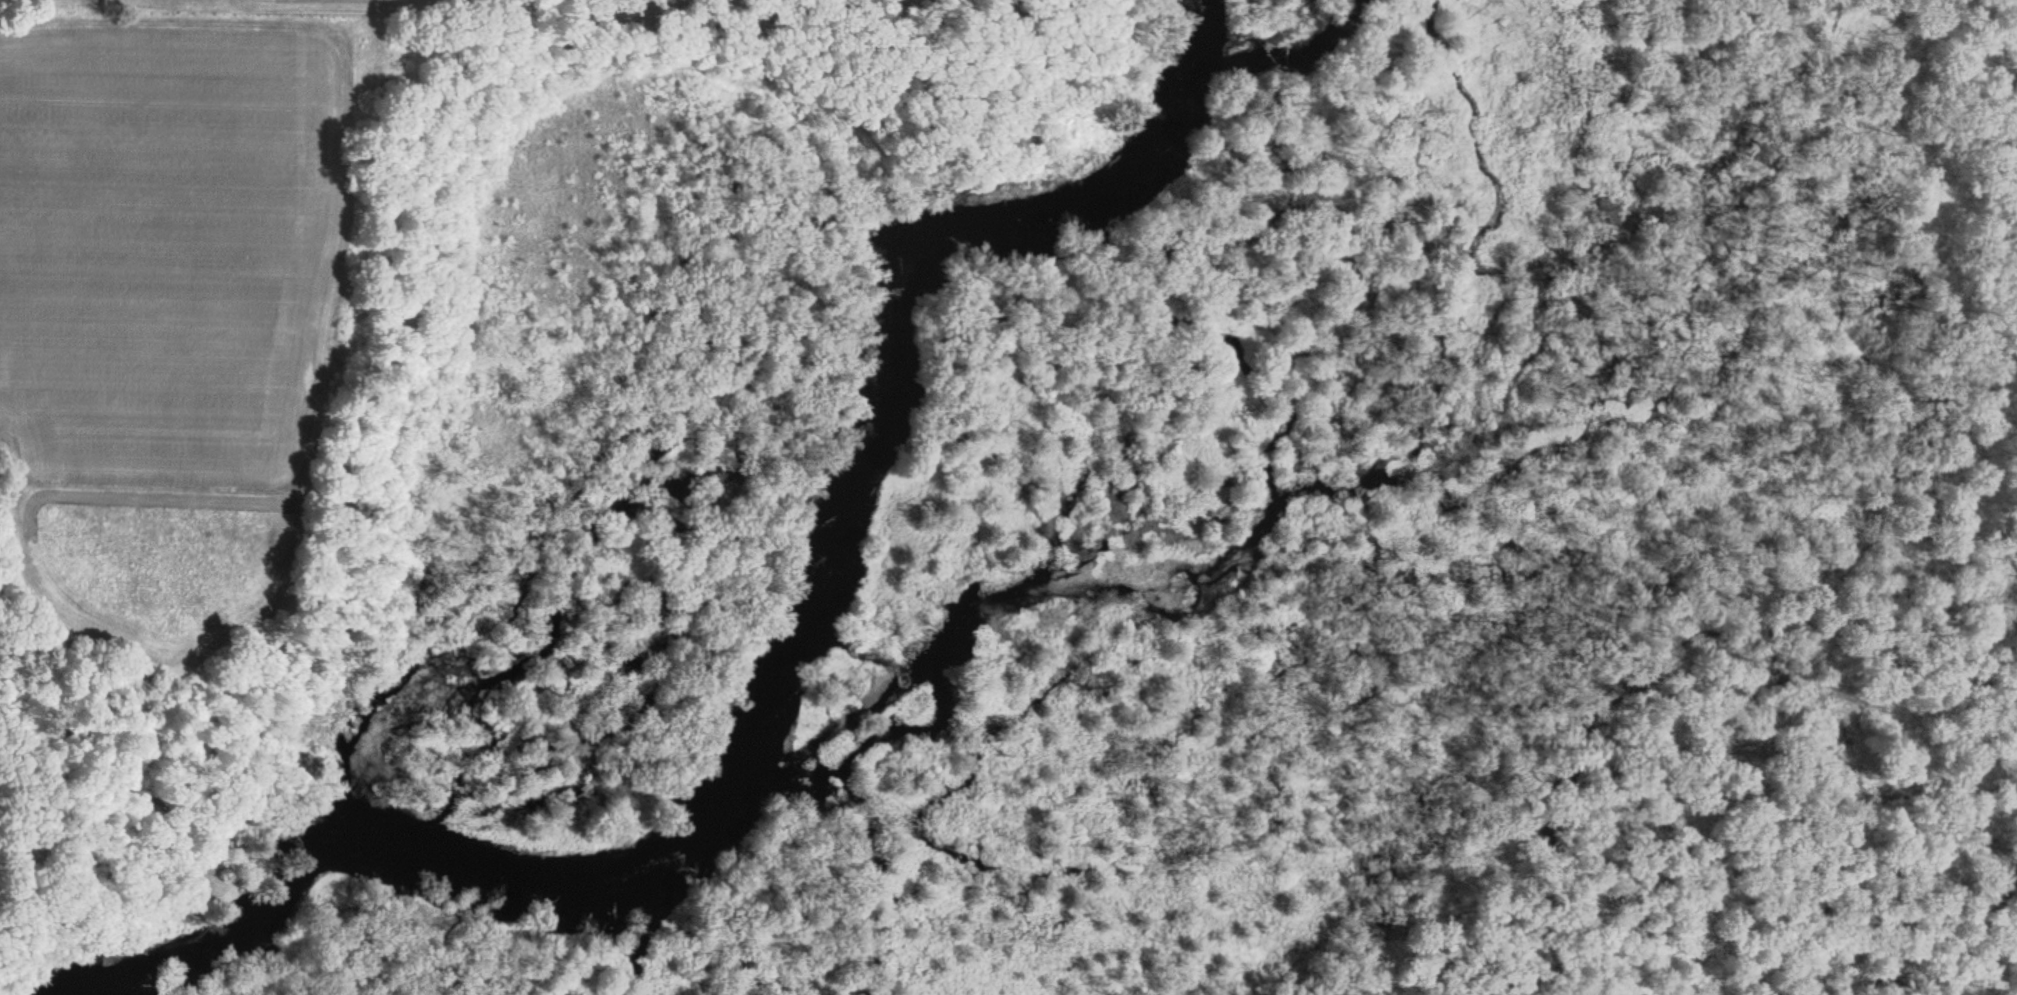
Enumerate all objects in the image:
river: (785, 677)

